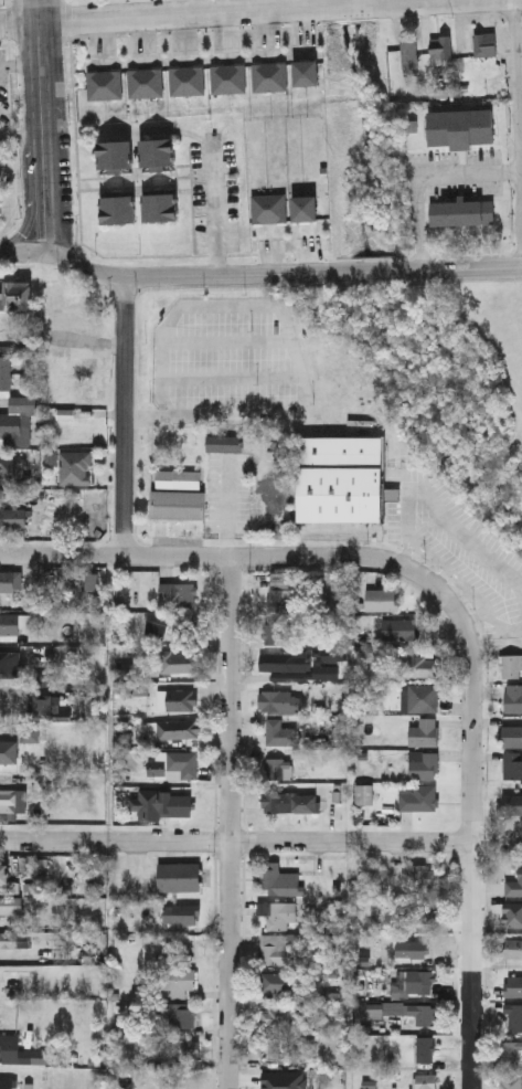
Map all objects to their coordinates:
parking lot: (0, 1)
road: (361, 1)
road: (227, 12)
road: (19, 24)
building: (440, 45)
building: (486, 45)
building: (307, 71)
building: (269, 74)
building: (227, 76)
building: (187, 78)
building: (145, 81)
building: (104, 82)
road: (516, 109)
building: (459, 125)
road: (41, 126)
building: (158, 150)
building: (115, 152)
road: (425, 178)
building: (161, 204)
building: (268, 205)
building: (305, 205)
building: (118, 207)
building: (462, 210)
road: (216, 211)
road: (29, 214)
road: (26, 252)
road: (3, 253)
road: (281, 274)
building: (56, 294)
building: (15, 296)
road: (227, 306)
road: (227, 342)
building: (6, 371)
road: (234, 378)
road: (248, 414)
building: (18, 417)
road: (125, 417)
building: (75, 465)
building: (12, 468)
building: (343, 475)
building: (179, 503)
building: (13, 512)
road: (446, 520)
road: (407, 552)
road: (207, 557)
road: (452, 571)
road: (445, 578)
building: (10, 580)
building: (279, 590)
building: (178, 592)
building: (382, 599)
road: (492, 618)
building: (10, 622)
building: (184, 624)
building: (398, 627)
building: (271, 633)
building: (285, 659)
building: (178, 660)
building: (10, 663)
building: (417, 665)
building: (512, 665)
building: (423, 696)
building: (513, 697)
building: (181, 699)
building: (284, 699)
building: (46, 704)
building: (178, 727)
building: (279, 731)
building: (424, 731)
building: (511, 734)
building: (8, 751)
building: (183, 763)
building: (423, 764)
building: (513, 764)
building: (156, 766)
building: (276, 766)
building: (363, 793)
building: (418, 796)
building: (8, 799)
building: (289, 801)
building: (510, 802)
building: (174, 804)
road: (477, 816)
road: (236, 823)
road: (260, 843)
building: (179, 875)
building: (425, 875)
building: (279, 879)
building: (7, 880)
building: (514, 882)
building: (13, 903)
building: (422, 911)
building: (181, 912)
building: (277, 912)
building: (512, 912)
building: (8, 938)
building: (276, 947)
building: (411, 947)
building: (512, 947)
building: (14, 980)
building: (178, 980)
building: (278, 981)
building: (420, 981)
building: (512, 984)
building: (422, 1013)
building: (179, 1015)
building: (514, 1016)
building: (275, 1018)
building: (10, 1047)
building: (180, 1047)
building: (424, 1048)
building: (509, 1049)
building: (423, 1080)
building: (510, 1081)
building: (8, 1083)

